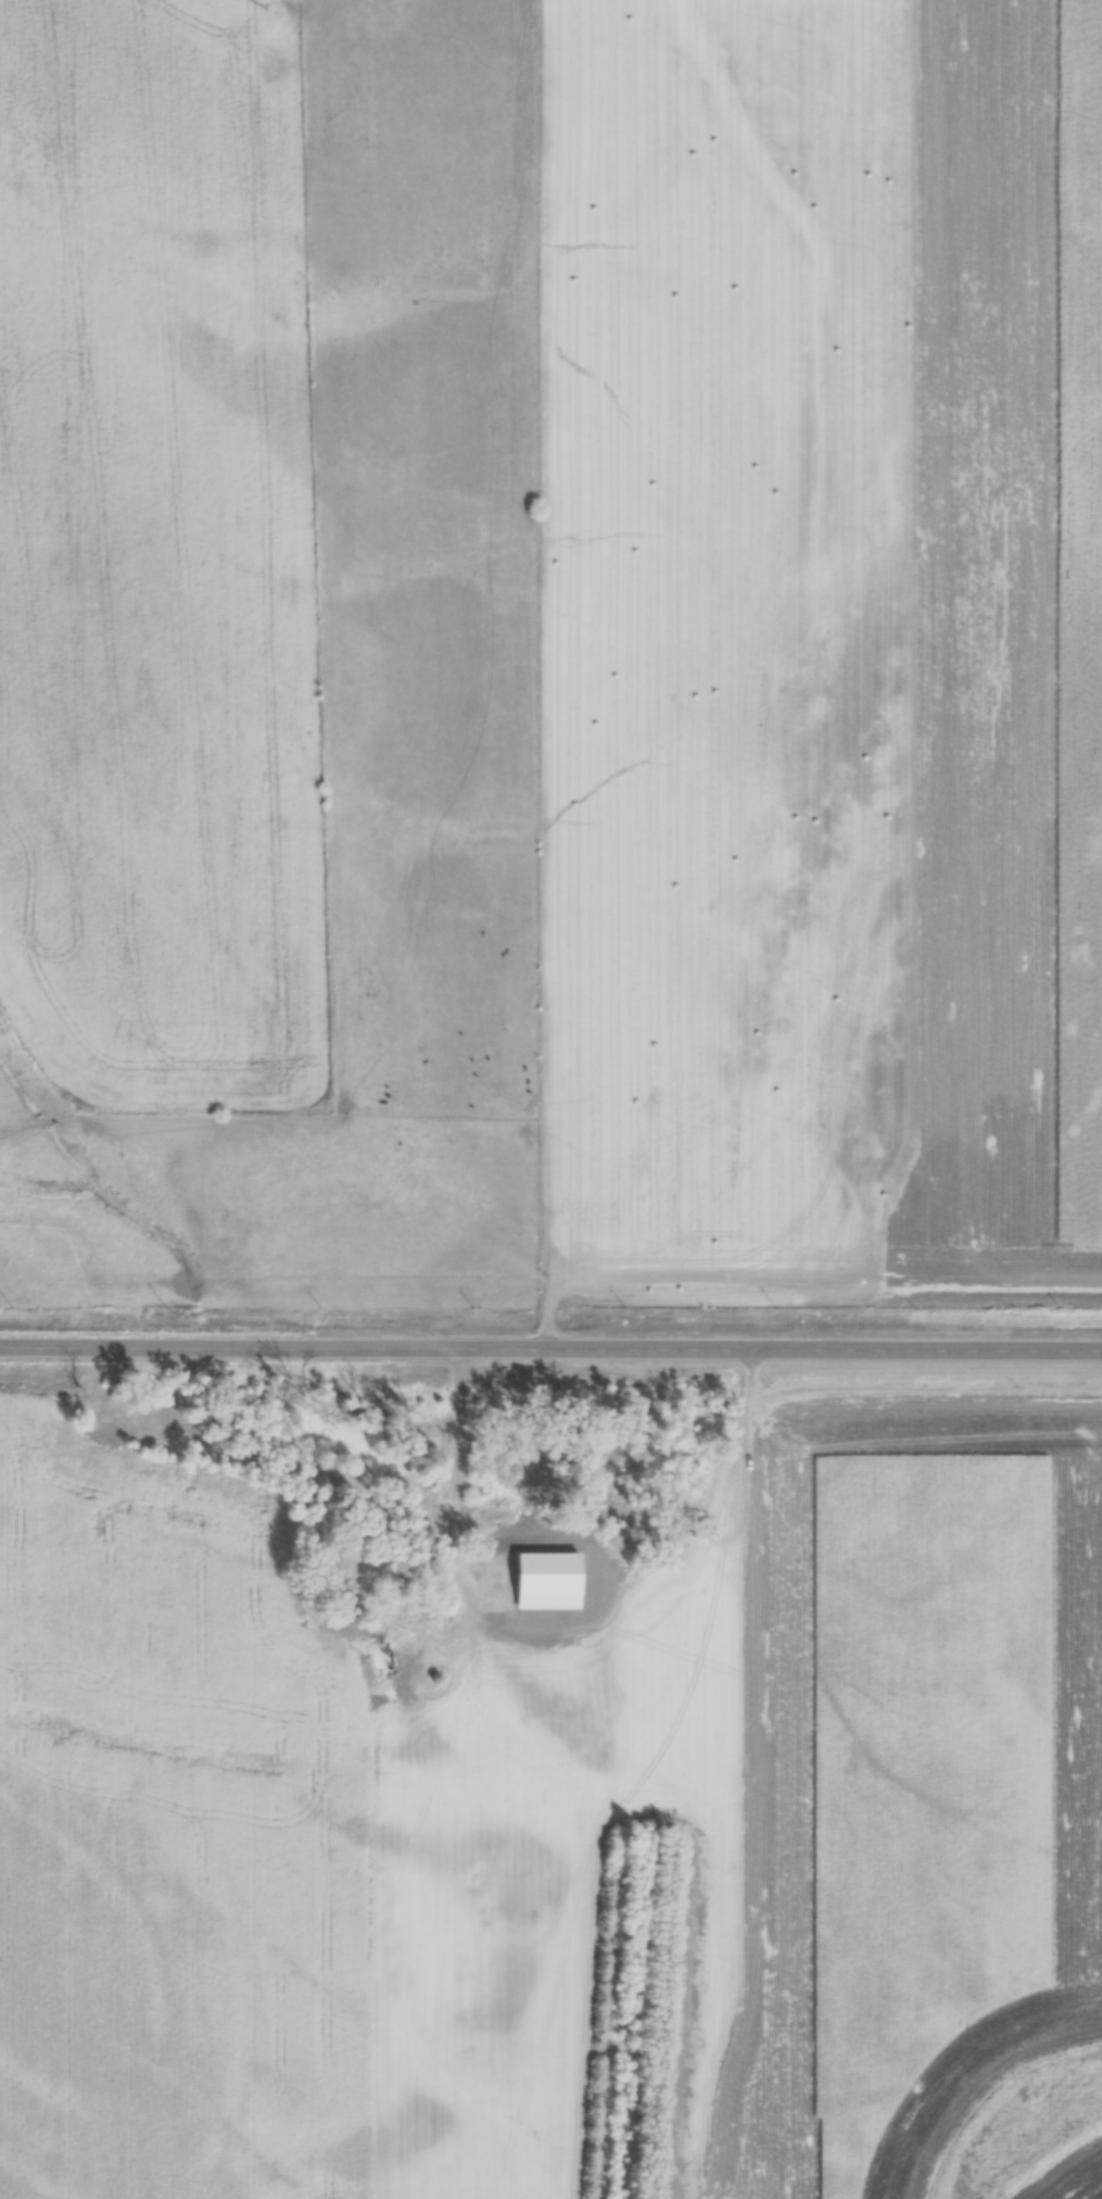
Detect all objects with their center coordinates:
road: (550, 1343)

